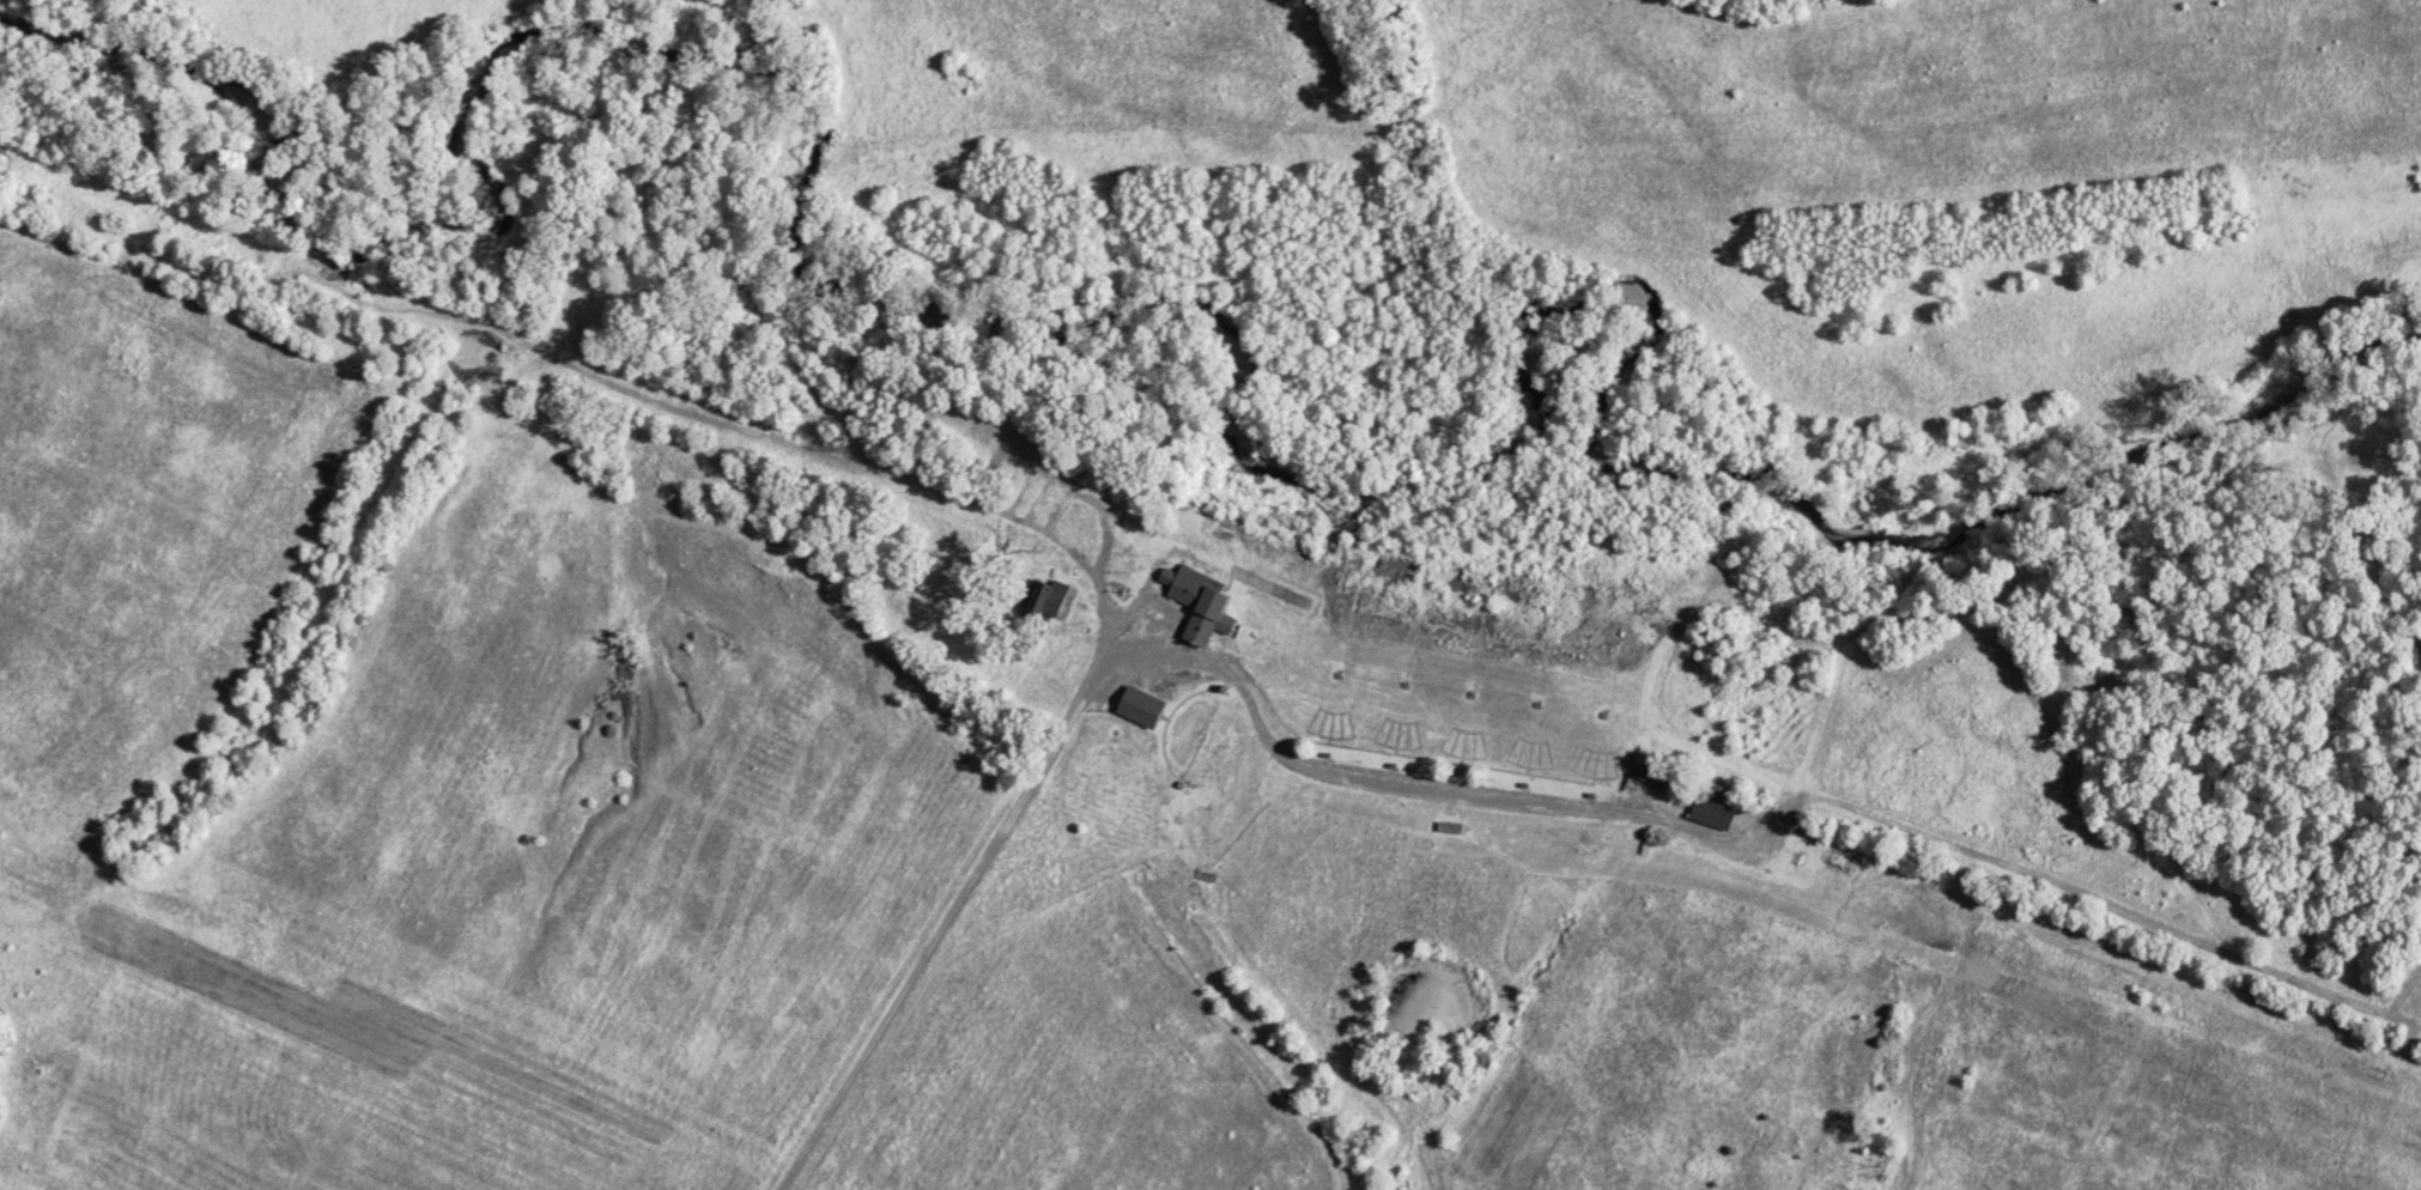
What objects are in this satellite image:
building: (1045, 599)
building: (1194, 602)
building: (1135, 705)
building: (1711, 805)
road: (967, 893)
park: (4, 1021)

